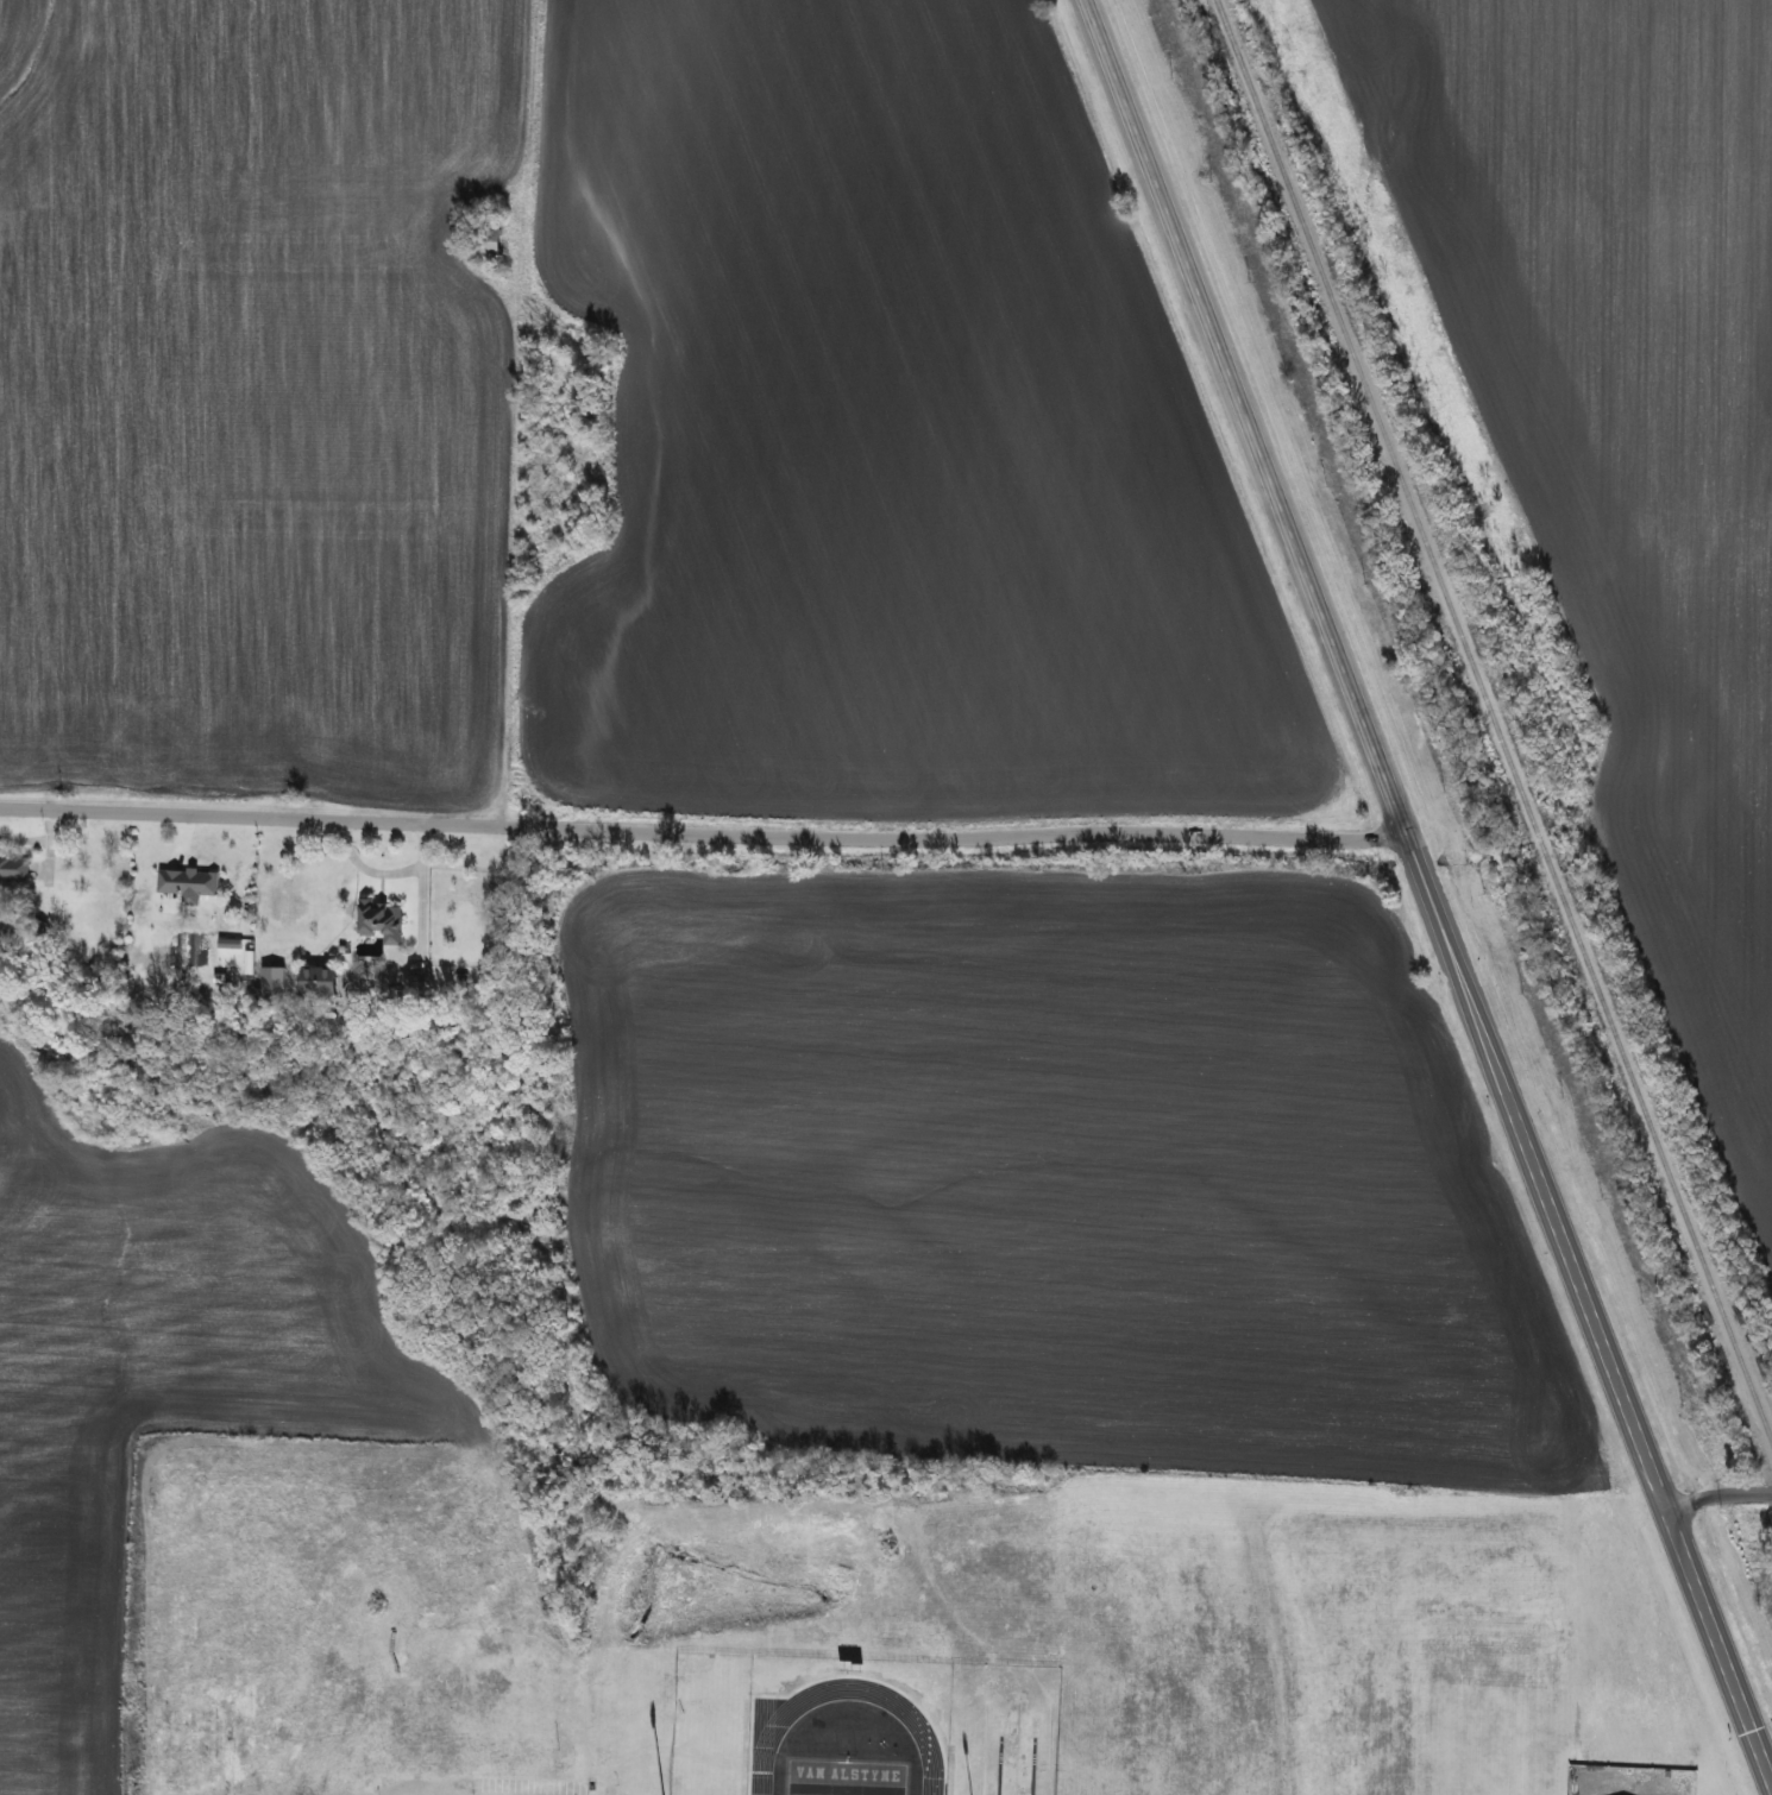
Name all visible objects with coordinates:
road: (504, 580)
railway: (1493, 724)
road: (1369, 747)
road: (702, 834)
road: (385, 873)
building: (377, 921)
building: (310, 981)
road: (1715, 1492)
road: (1715, 1642)
park: (843, 1772)
road: (1629, 1788)

